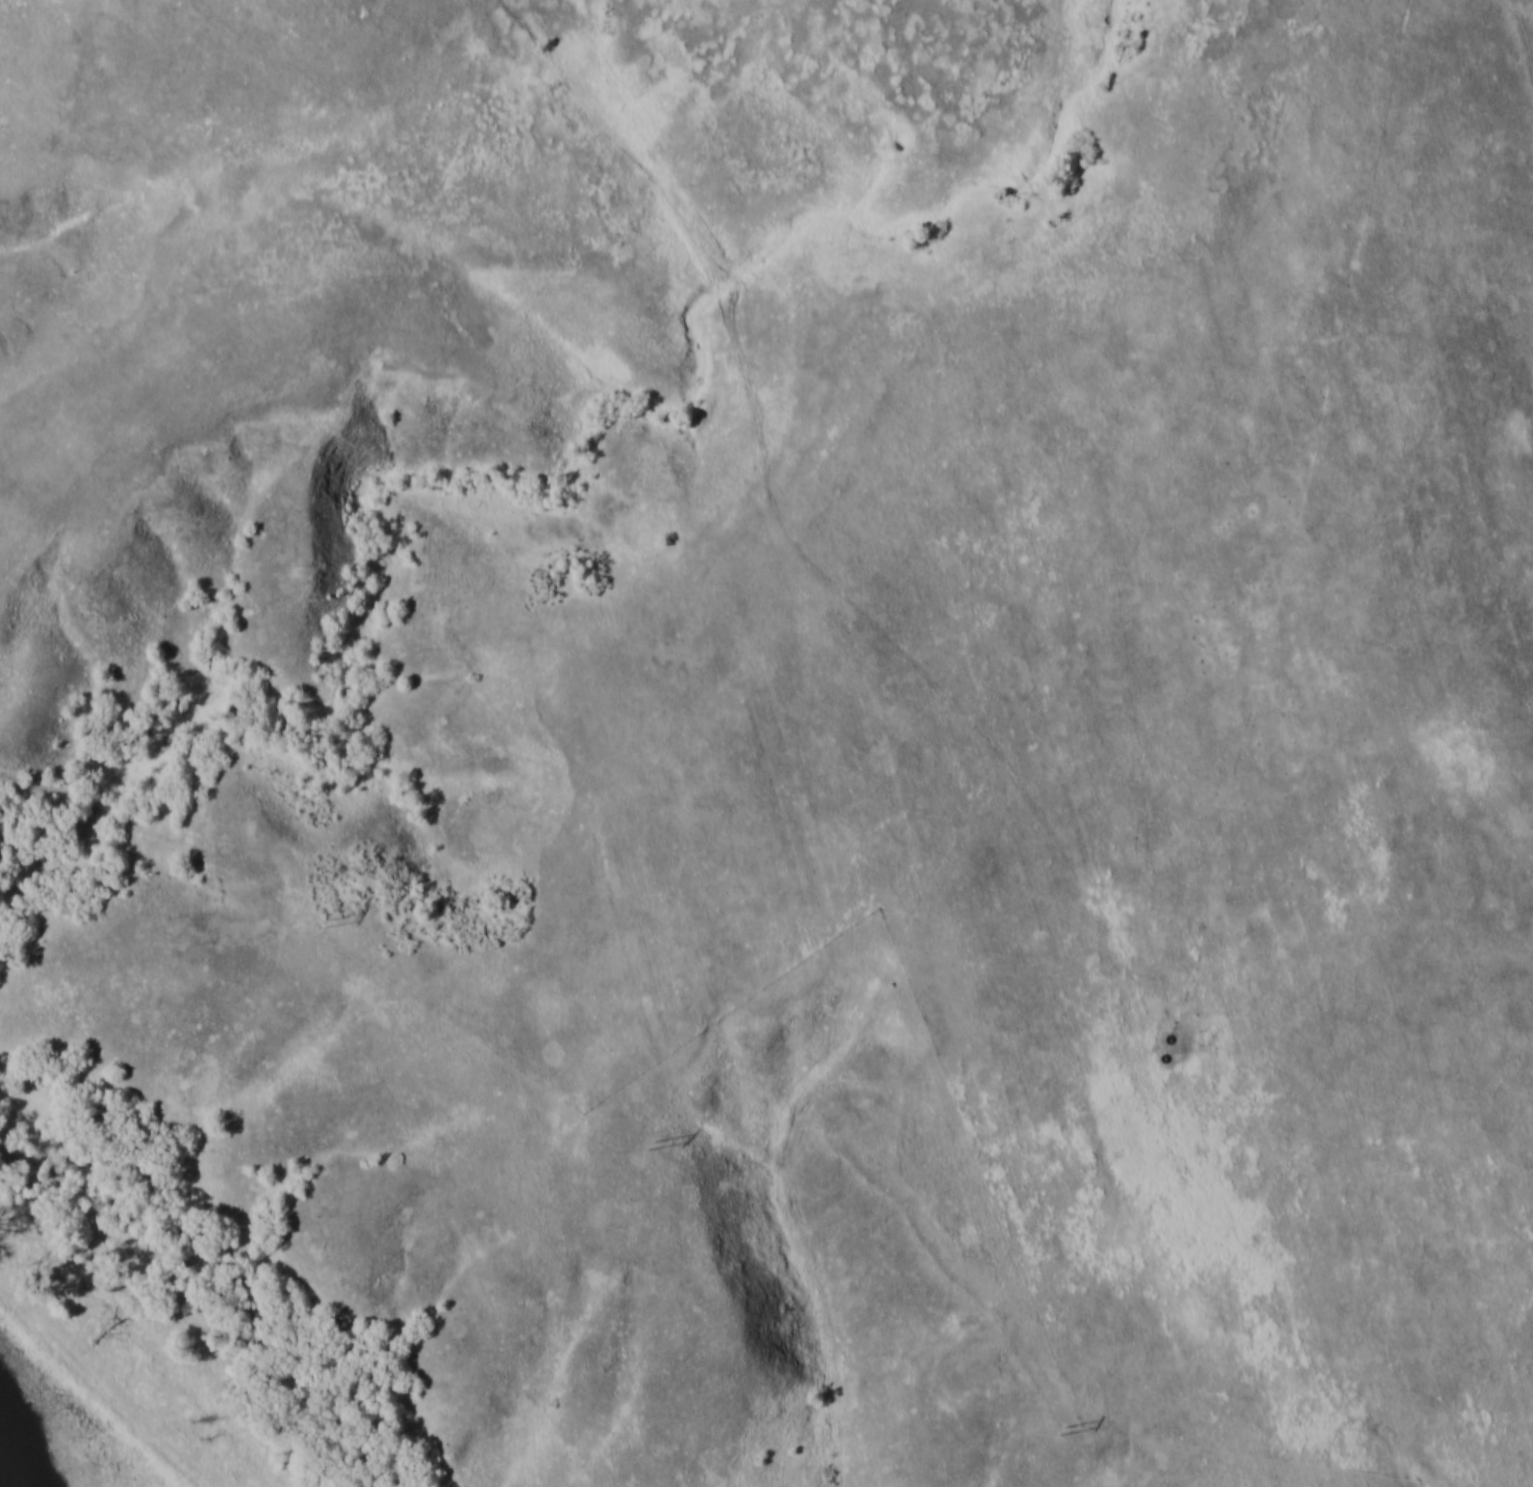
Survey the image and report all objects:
river: (41, 1445)

